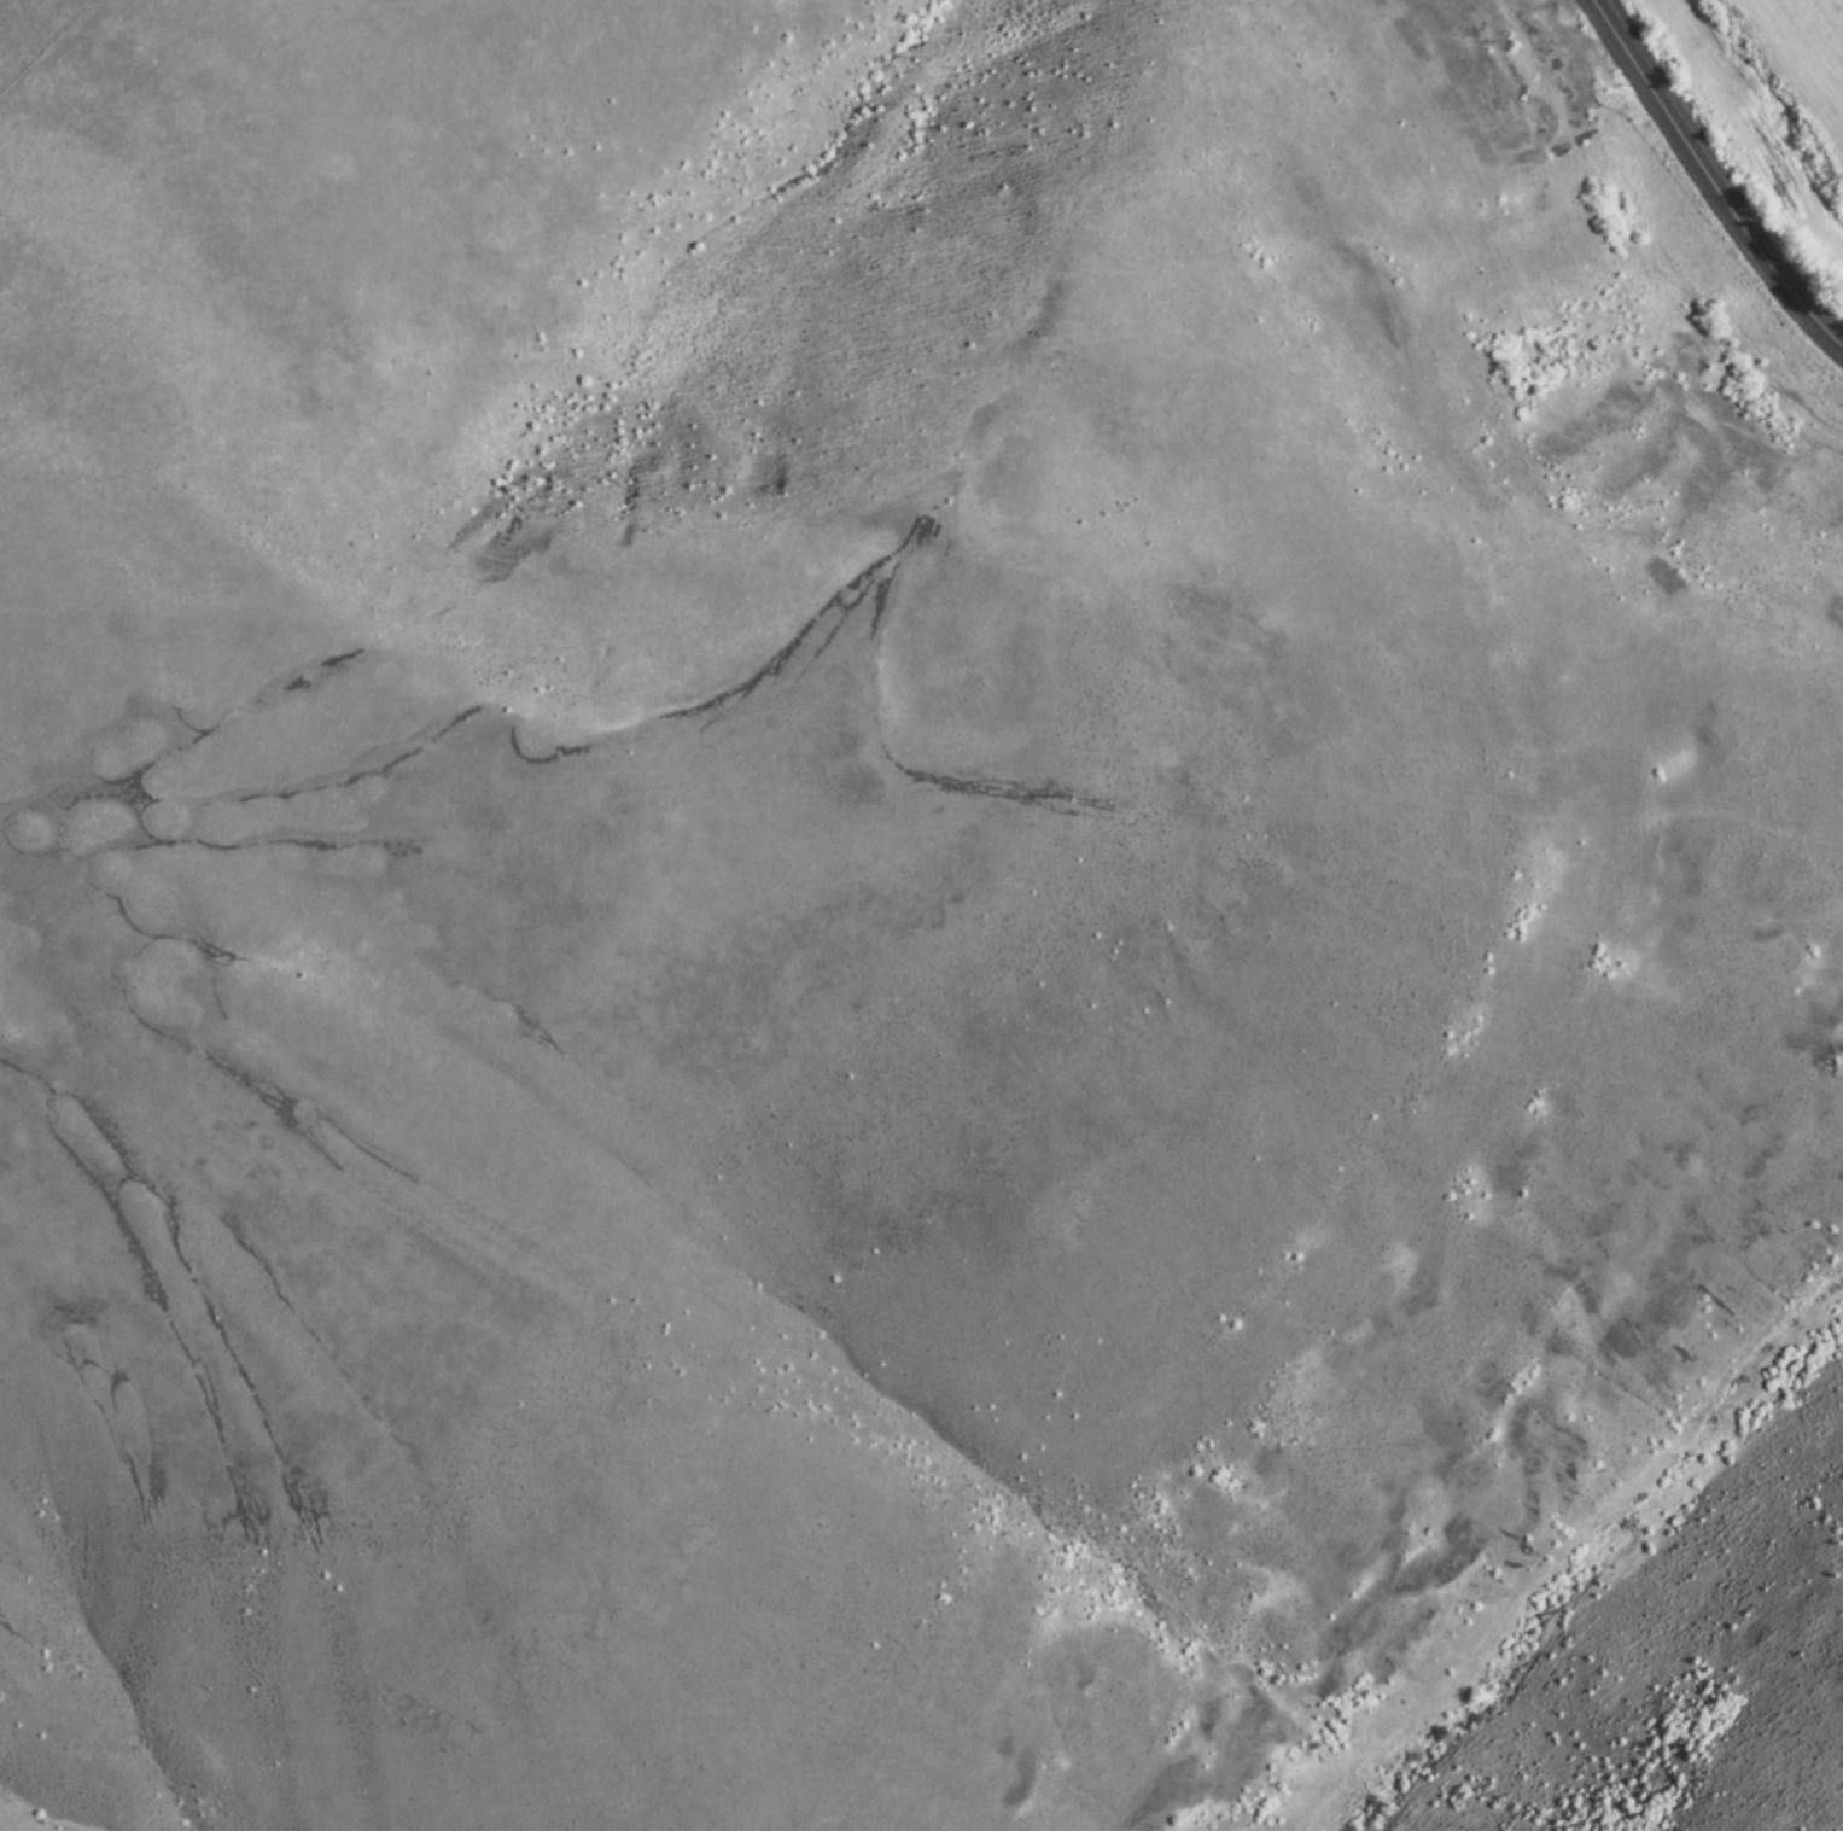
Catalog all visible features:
road: (1709, 180)

